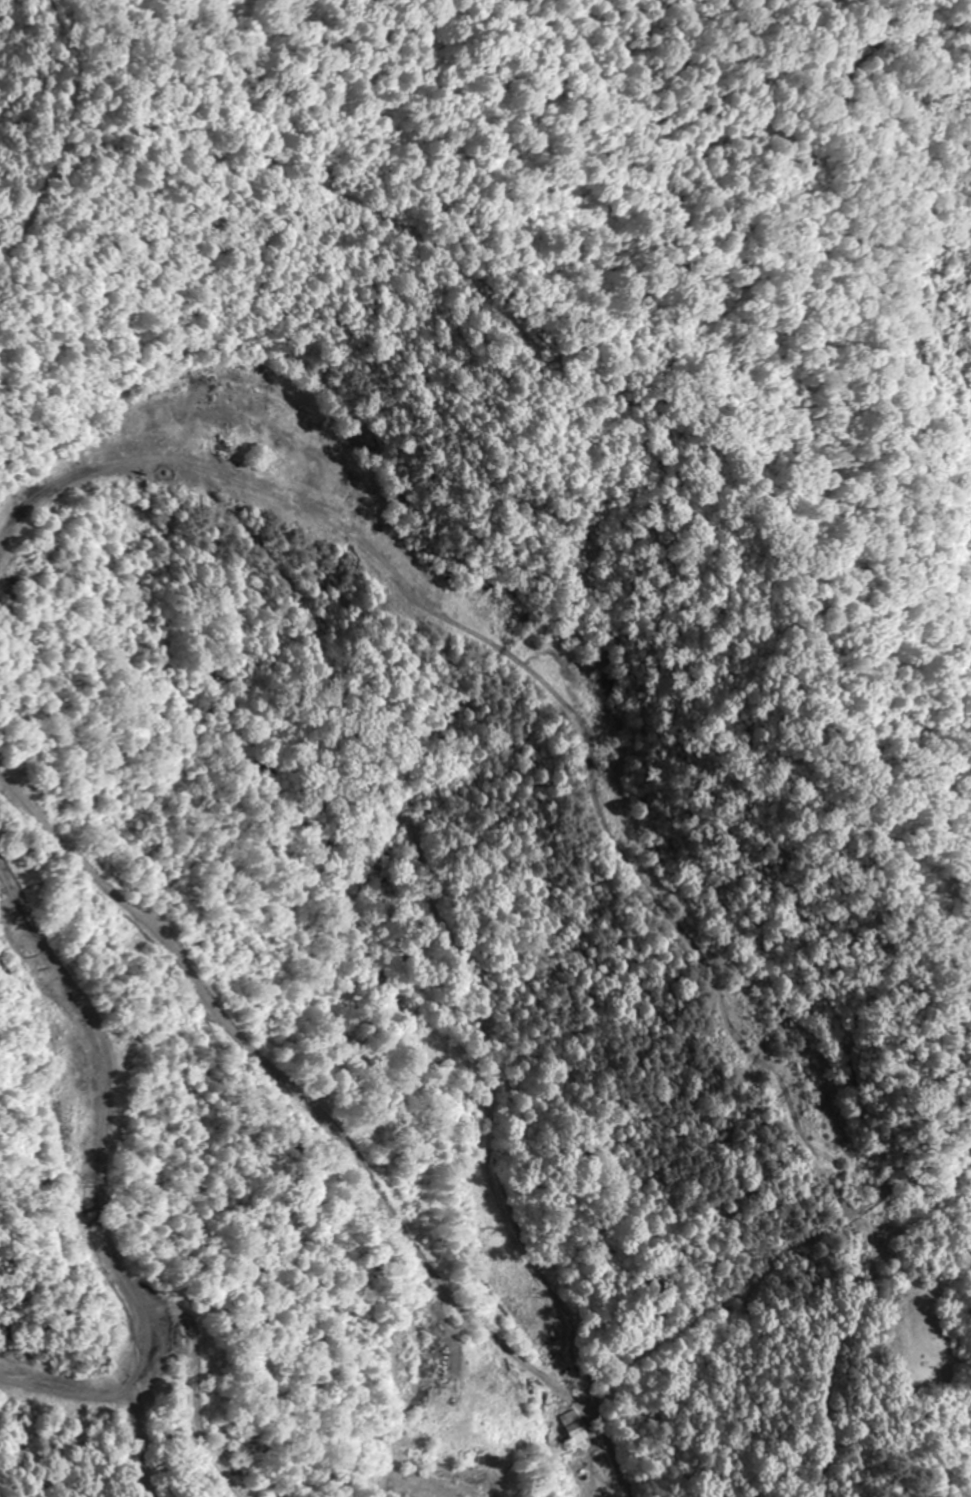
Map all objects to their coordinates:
building: (573, 1430)

